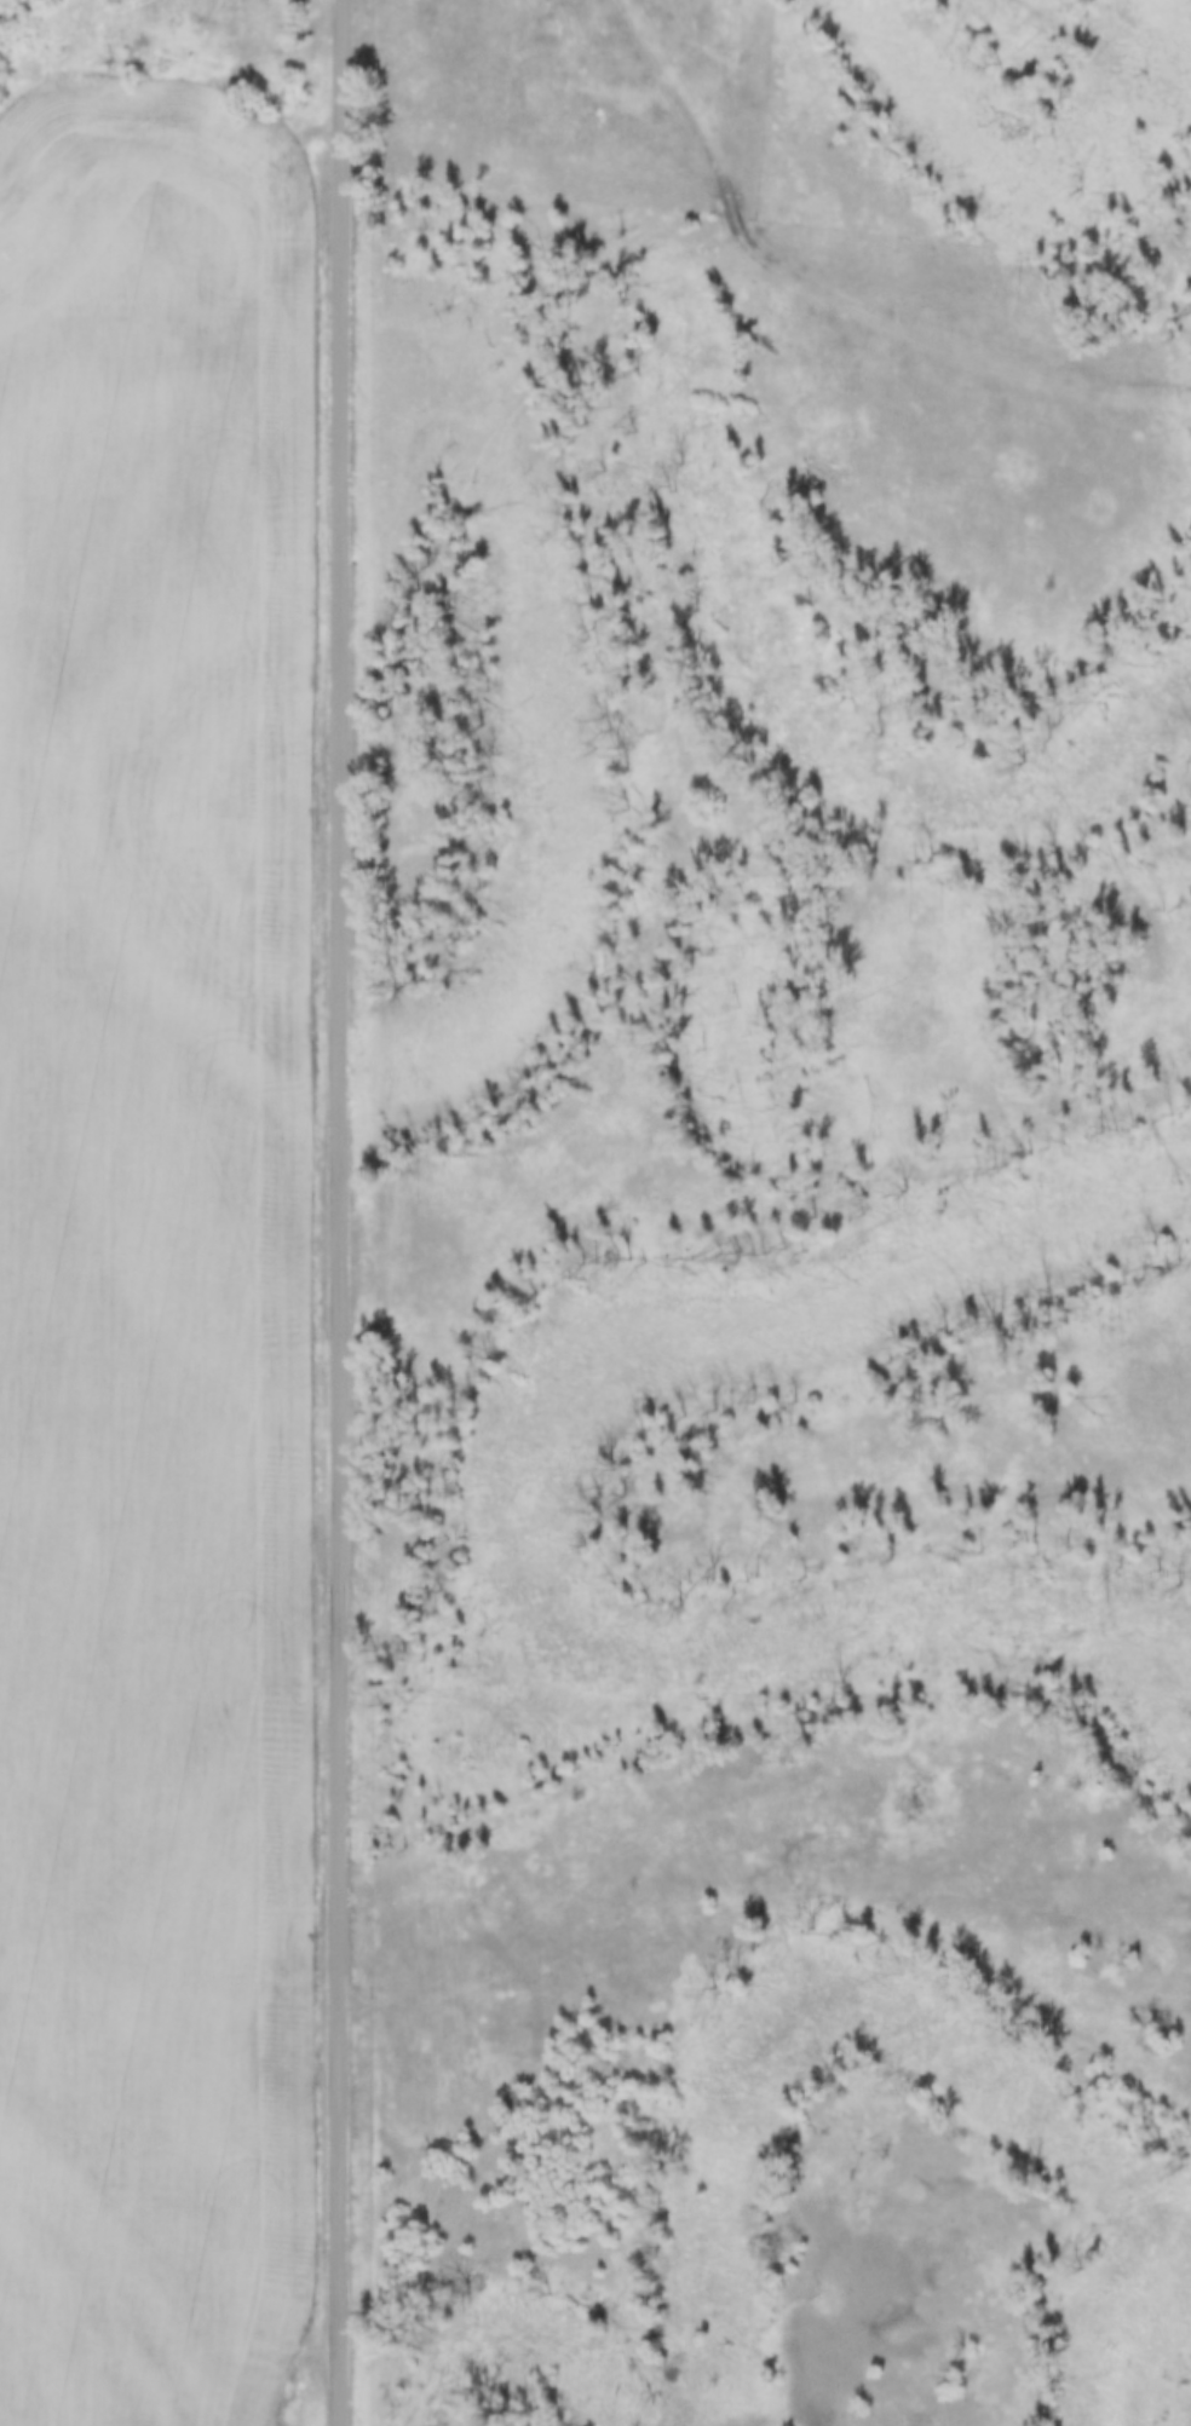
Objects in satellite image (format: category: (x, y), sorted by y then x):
road: (338, 1212)

